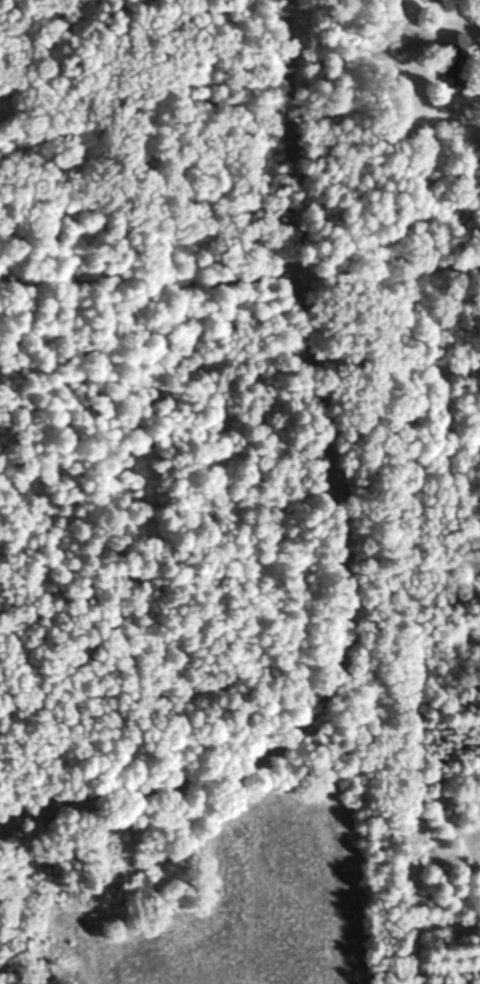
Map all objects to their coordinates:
building: (447, 57)
road: (358, 536)

